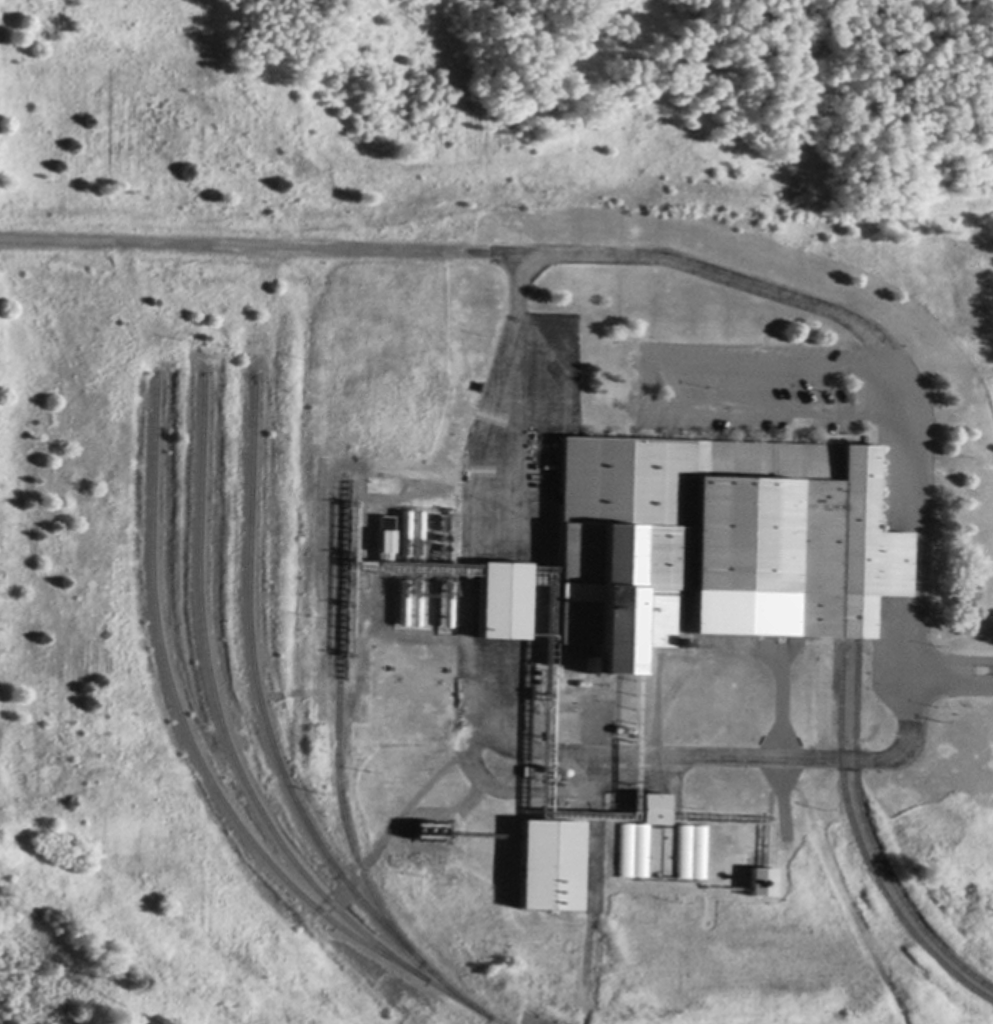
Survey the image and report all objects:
road: (786, 299)
building: (713, 539)
building: (502, 601)
railway: (260, 697)
railway: (186, 729)
railway: (233, 752)
railway: (340, 783)
building: (428, 831)
building: (638, 837)
railway: (872, 843)
railway: (860, 850)
building: (690, 853)
building: (547, 865)
building: (761, 882)

